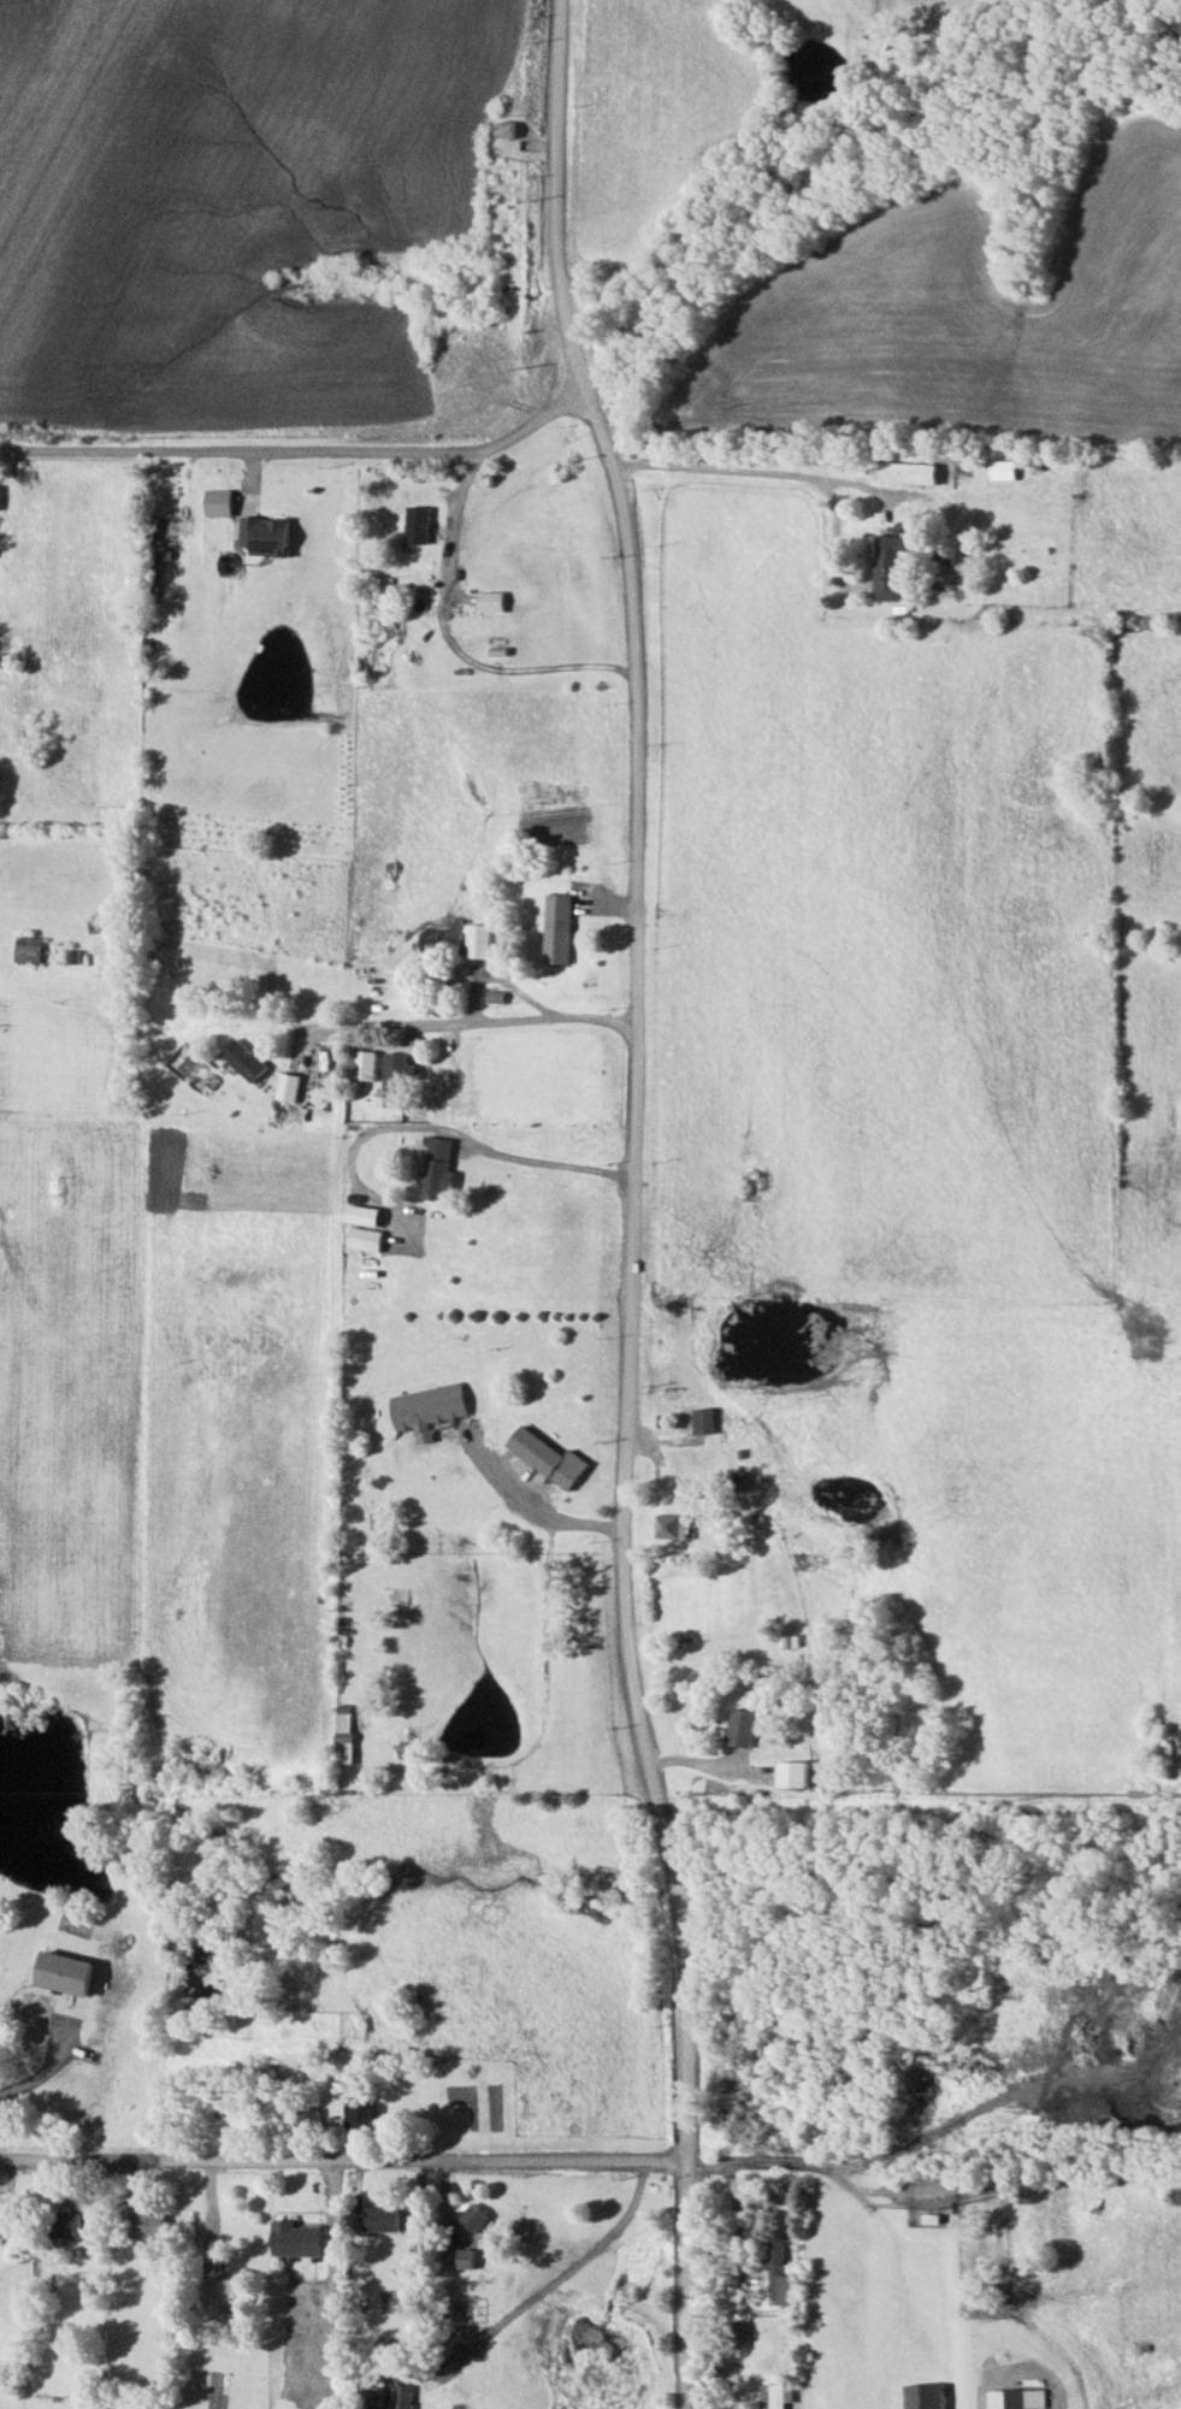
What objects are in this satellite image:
building: (506, 129)
crop: (226, 195)
crop: (959, 317)
road: (301, 454)
building: (1002, 468)
road: (709, 470)
building: (916, 472)
road: (455, 512)
building: (414, 525)
building: (262, 536)
building: (888, 568)
building: (380, 586)
building: (488, 602)
building: (556, 929)
building: (479, 941)
building: (26, 949)
road: (484, 1020)
building: (246, 1061)
building: (366, 1065)
building: (398, 1079)
road: (633, 1080)
building: (289, 1088)
road: (403, 1117)
road: (55, 1132)
road: (451, 1132)
building: (437, 1169)
building: (365, 1238)
building: (427, 1406)
building: (703, 1419)
building: (548, 1457)
building: (739, 1480)
road: (526, 1511)
building: (672, 1524)
building: (344, 1722)
building: (743, 1726)
building: (795, 1773)
building: (360, 2113)
building: (308, 2119)
road: (342, 2160)
road: (869, 2209)
building: (473, 2216)
building: (383, 2218)
building: (72, 2224)
building: (6, 2225)
building: (147, 2225)
building: (297, 2239)
building: (466, 2259)
building: (779, 2273)
road: (554, 2279)
road: (680, 2285)
building: (219, 2291)
building: (738, 2333)
building: (402, 2396)
building: (773, 2396)
building: (925, 2396)
building: (1017, 2398)

